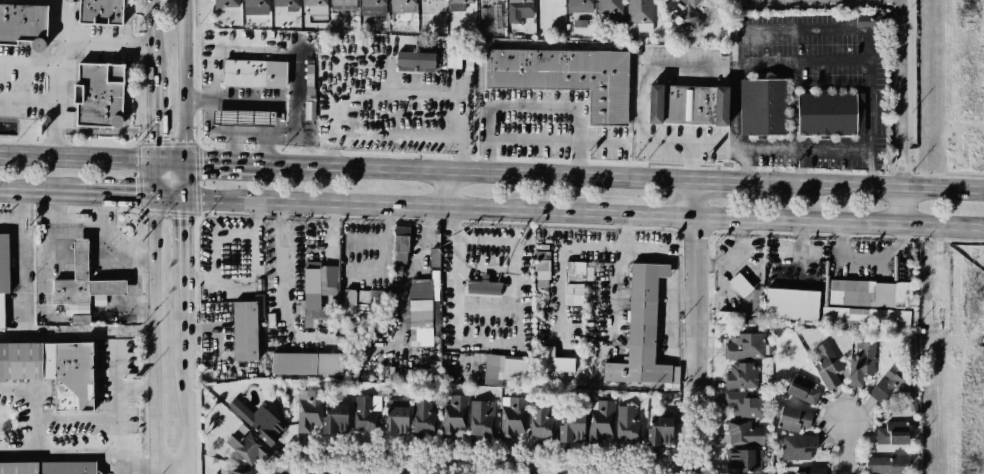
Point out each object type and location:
building: (428, 0)
building: (461, 1)
building: (402, 2)
building: (226, 3)
building: (255, 3)
building: (285, 3)
building: (316, 6)
building: (579, 6)
building: (609, 6)
building: (373, 7)
building: (519, 10)
building: (100, 12)
road: (900, 13)
building: (639, 14)
building: (690, 14)
power tower: (965, 14)
building: (498, 16)
building: (484, 17)
building: (23, 25)
road: (802, 30)
road: (69, 32)
road: (152, 37)
road: (112, 41)
building: (453, 49)
building: (415, 59)
building: (253, 73)
building: (567, 77)
road: (183, 81)
building: (98, 95)
road: (28, 101)
building: (310, 105)
building: (688, 105)
building: (763, 107)
road: (56, 109)
building: (826, 113)
road: (153, 118)
building: (243, 118)
road: (640, 119)
road: (394, 133)
road: (792, 149)
road: (92, 158)
traffic signals: (154, 161)
traffic signals: (184, 163)
road: (694, 163)
road: (221, 164)
road: (800, 166)
road: (476, 170)
road: (153, 180)
road: (728, 181)
road: (184, 182)
road: (872, 185)
road: (447, 189)
road: (38, 194)
road: (115, 197)
traffic signals: (153, 199)
road: (168, 199)
traffic signals: (184, 201)
road: (901, 205)
road: (403, 206)
road: (57, 211)
road: (106, 213)
road: (658, 215)
road: (838, 223)
road: (182, 238)
building: (400, 244)
road: (18, 257)
road: (140, 264)
building: (541, 269)
building: (3, 273)
road: (671, 275)
building: (577, 276)
building: (740, 285)
road: (282, 286)
building: (83, 287)
building: (482, 287)
road: (42, 293)
building: (317, 293)
building: (791, 304)
building: (421, 311)
road: (140, 312)
building: (730, 317)
building: (865, 318)
road: (694, 327)
building: (245, 330)
building: (643, 333)
road: (153, 336)
road: (502, 342)
building: (744, 346)
building: (553, 361)
building: (293, 363)
building: (329, 363)
building: (861, 363)
building: (827, 365)
building: (509, 367)
building: (55, 370)
road: (186, 374)
building: (421, 374)
building: (741, 375)
building: (886, 384)
road: (136, 389)
building: (802, 389)
building: (744, 404)
building: (308, 409)
building: (366, 414)
building: (424, 416)
building: (454, 416)
road: (51, 417)
building: (395, 417)
building: (335, 418)
building: (482, 418)
building: (513, 418)
building: (600, 419)
building: (794, 419)
building: (259, 421)
building: (541, 421)
building: (627, 424)
road: (118, 425)
building: (571, 428)
building: (660, 431)
building: (744, 433)
building: (892, 433)
building: (247, 445)
building: (797, 447)
road: (845, 448)
road: (59, 452)
road: (495, 459)
building: (744, 461)
road: (287, 463)
building: (886, 464)
road: (432, 465)
road: (170, 467)
building: (48, 468)
power tower: (971, 469)
building: (811, 470)
building: (238, 471)

